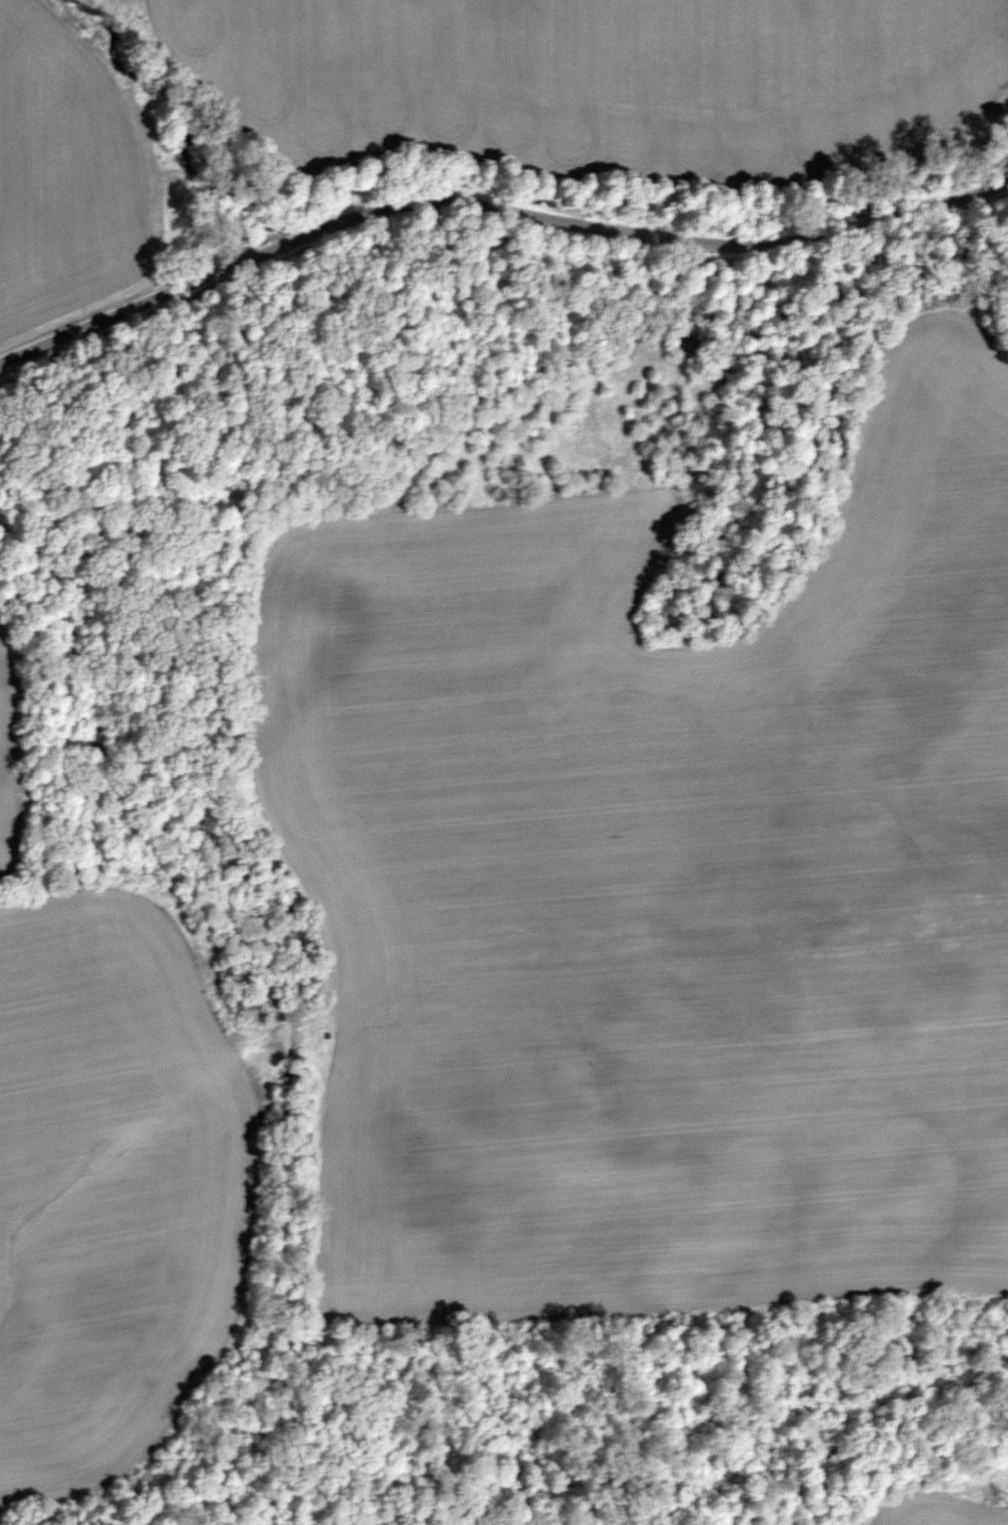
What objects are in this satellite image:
crop: (62, 170)
road: (492, 212)

